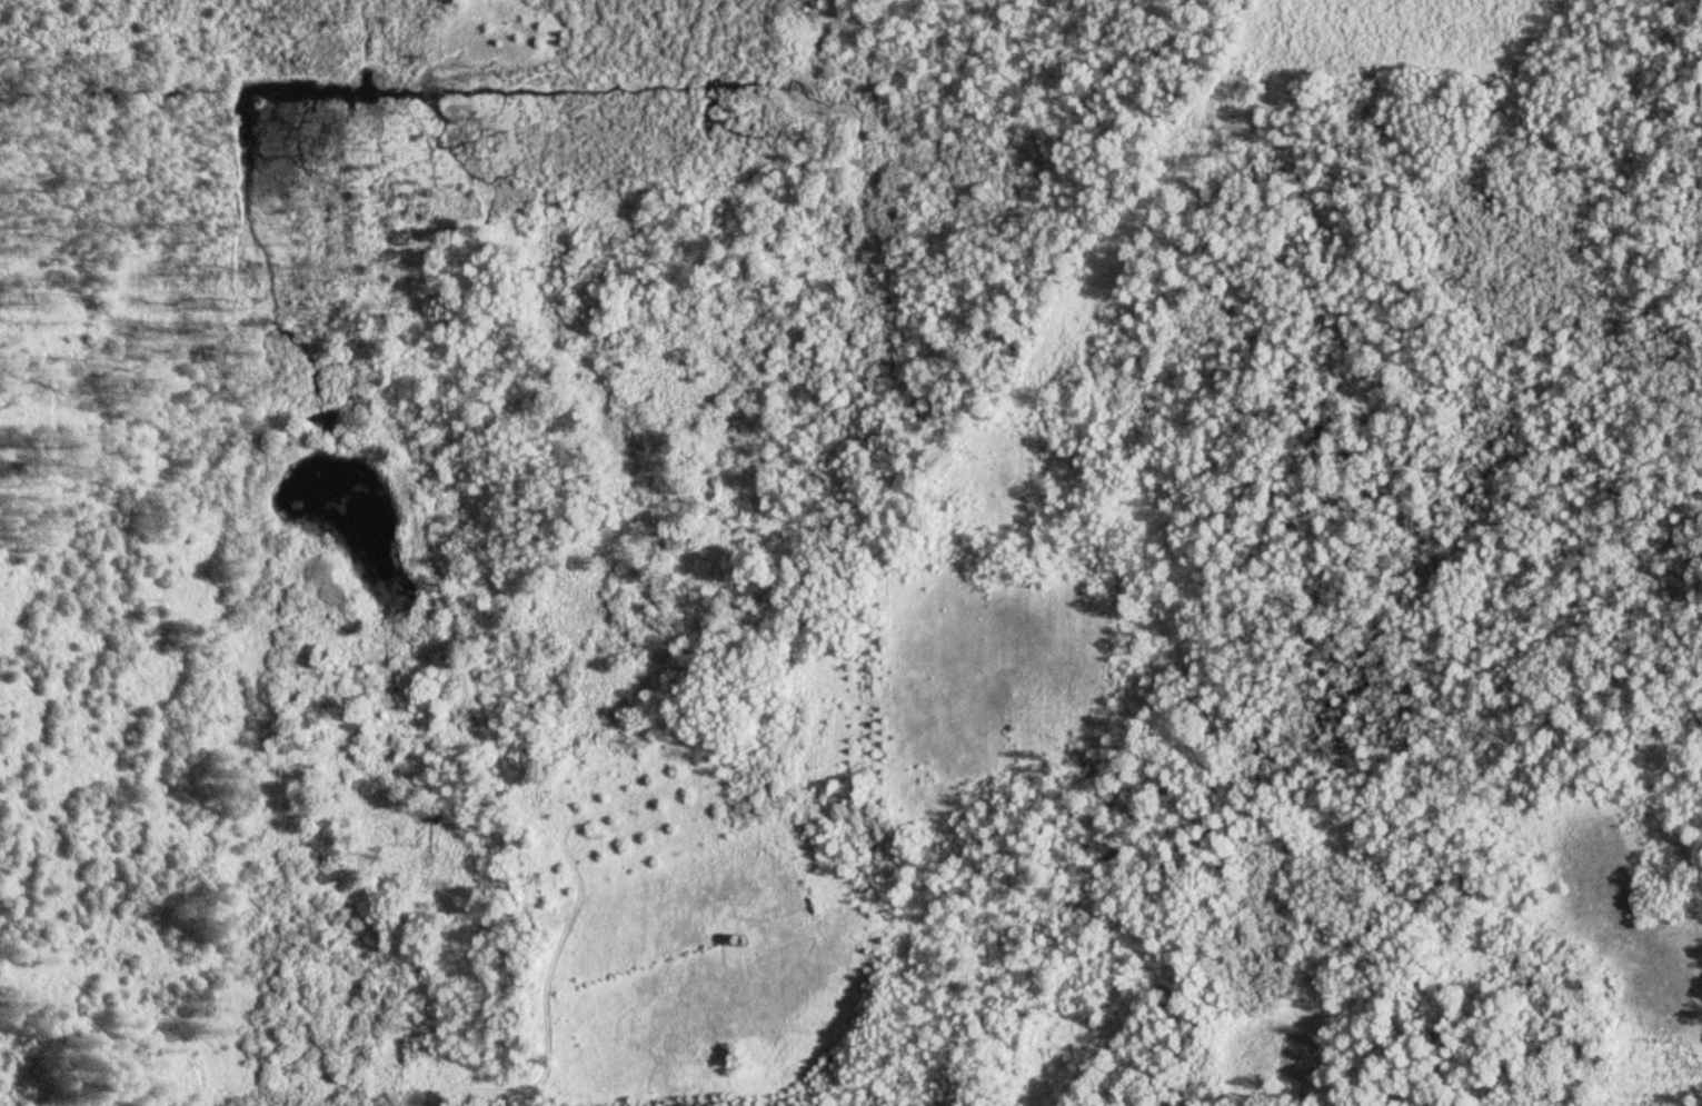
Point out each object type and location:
road: (537, 798)

